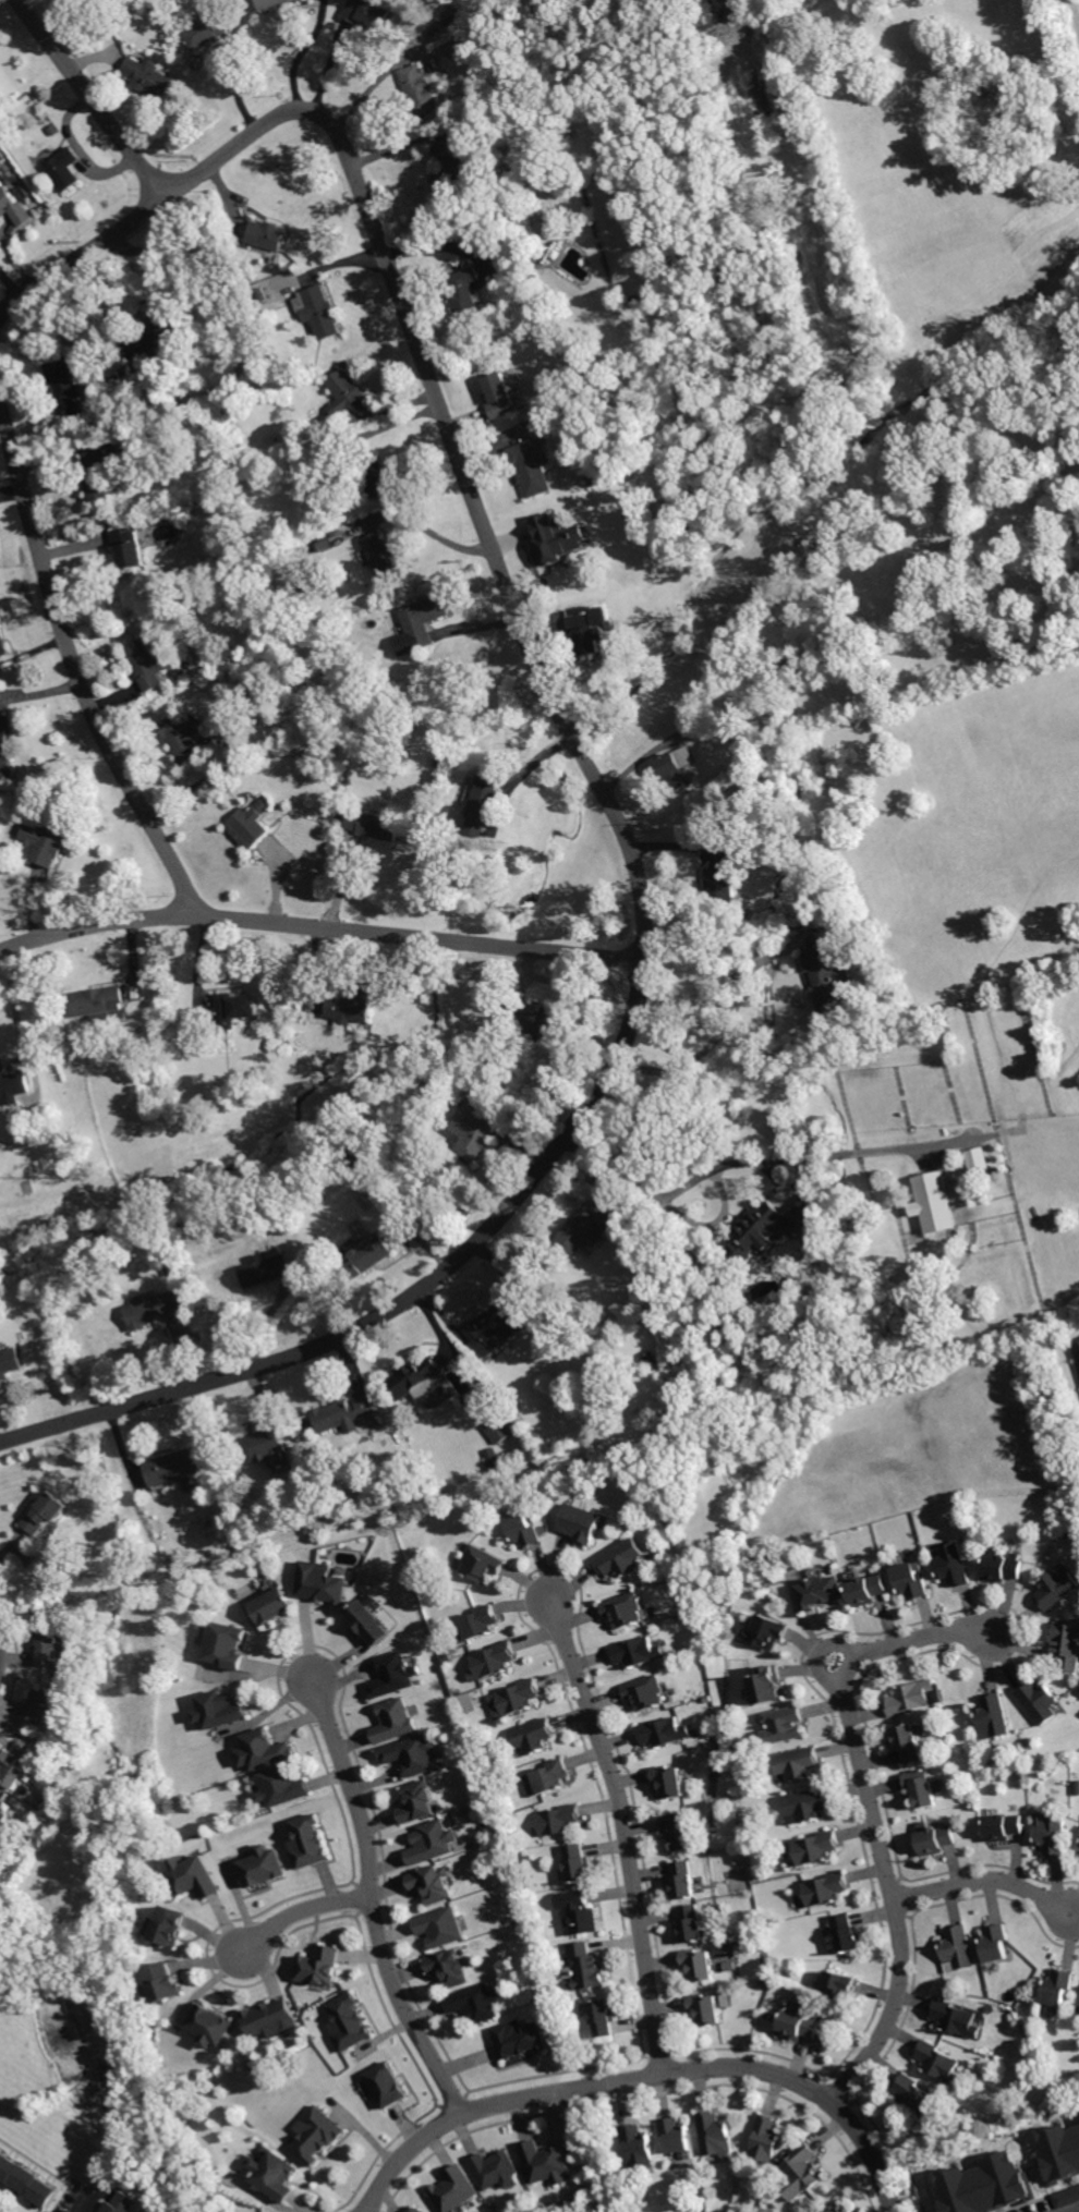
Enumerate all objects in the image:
building: (272, 3)
building: (368, 13)
building: (207, 31)
road: (301, 52)
building: (149, 76)
road: (376, 82)
building: (421, 90)
road: (94, 97)
building: (608, 153)
building: (65, 166)
building: (451, 166)
building: (14, 208)
building: (547, 217)
building: (269, 233)
road: (83, 254)
building: (464, 296)
building: (322, 312)
road: (247, 325)
building: (158, 330)
building: (68, 386)
building: (349, 393)
building: (500, 396)
building: (207, 428)
building: (126, 462)
building: (533, 466)
building: (98, 475)
building: (377, 478)
building: (678, 536)
building: (551, 543)
building: (134, 545)
building: (386, 558)
building: (425, 620)
building: (590, 628)
building: (4, 641)
building: (151, 663)
road: (77, 664)
building: (288, 726)
building: (187, 736)
building: (8, 748)
building: (756, 756)
building: (678, 768)
building: (484, 805)
building: (253, 824)
building: (374, 825)
building: (46, 844)
road: (632, 844)
building: (723, 887)
road: (322, 926)
building: (826, 976)
building: (97, 999)
road: (15, 1001)
building: (352, 1005)
building: (237, 1008)
building: (535, 1021)
road: (722, 1033)
building: (453, 1041)
building: (13, 1083)
building: (480, 1138)
building: (978, 1160)
building: (360, 1164)
road: (717, 1167)
building: (936, 1201)
building: (809, 1224)
building: (586, 1229)
building: (755, 1233)
building: (367, 1254)
building: (268, 1268)
building: (177, 1269)
building: (160, 1308)
building: (732, 1312)
building: (496, 1332)
building: (653, 1360)
building: (11, 1361)
building: (415, 1375)
building: (610, 1394)
building: (344, 1411)
building: (498, 1430)
building: (269, 1444)
building: (497, 1458)
building: (174, 1466)
building: (411, 1483)
building: (47, 1512)
building: (580, 1523)
building: (522, 1530)
building: (622, 1559)
building: (482, 1564)
building: (954, 1565)
building: (1002, 1567)
building: (911, 1581)
building: (323, 1583)
building: (1057, 1588)
building: (868, 1590)
building: (820, 1591)
building: (272, 1606)
building: (626, 1609)
building: (480, 1621)
building: (369, 1622)
building: (765, 1631)
building: (1067, 1644)
building: (226, 1646)
building: (52, 1648)
building: (637, 1652)
road: (0, 1654)
building: (493, 1661)
building: (393, 1676)
building: (764, 1684)
building: (648, 1691)
building: (520, 1697)
building: (910, 1697)
building: (1040, 1701)
building: (45, 1705)
building: (221, 1710)
building: (994, 1715)
building: (396, 1722)
building: (783, 1725)
building: (662, 1731)
building: (534, 1736)
building: (909, 1741)
building: (264, 1751)
building: (413, 1755)
building: (798, 1762)
building: (14, 1769)
building: (553, 1776)
building: (670, 1780)
building: (283, 1787)
building: (921, 1788)
building: (0, 1795)
road: (870, 1799)
building: (419, 1802)
building: (808, 1803)
building: (75, 1808)
building: (4, 1812)
road: (622, 1815)
building: (562, 1819)
building: (1005, 1826)
building: (680, 1831)
building: (1053, 1834)
building: (935, 1838)
building: (308, 1843)
building: (434, 1844)
building: (816, 1847)
building: (580, 1864)
building: (265, 1868)
building: (84, 1877)
building: (194, 1877)
building: (683, 1880)
road: (987, 1880)
building: (104, 1883)
road: (371, 1883)
building: (434, 1885)
building: (72, 1886)
building: (826, 1888)
building: (54, 1905)
building: (583, 1911)
road: (284, 1917)
building: (689, 1923)
building: (169, 1927)
building: (442, 1928)
building: (847, 1933)
building: (995, 1943)
building: (958, 1947)
building: (592, 1965)
building: (698, 1965)
building: (729, 1965)
building: (320, 1967)
building: (450, 1968)
building: (162, 1983)
building: (840, 1984)
building: (1058, 1986)
building: (477, 2004)
building: (707, 2009)
building: (607, 2017)
building: (956, 2018)
building: (272, 2019)
building: (349, 2023)
building: (803, 2023)
building: (211, 2027)
building: (520, 2039)
building: (939, 2063)
road: (643, 2079)
building: (387, 2086)
building: (917, 2098)
building: (714, 2132)
building: (679, 2134)
building: (318, 2135)
building: (768, 2138)
building: (638, 2144)
building: (1064, 2148)
building: (547, 2163)
building: (497, 2171)
building: (803, 2171)
building: (275, 2175)
building: (27, 2178)
building: (983, 2184)
building: (456, 2189)
building: (1067, 2196)
road: (93, 2198)
building: (119, 2205)
road: (1066, 2207)
building: (841, 2209)
building: (420, 2210)

